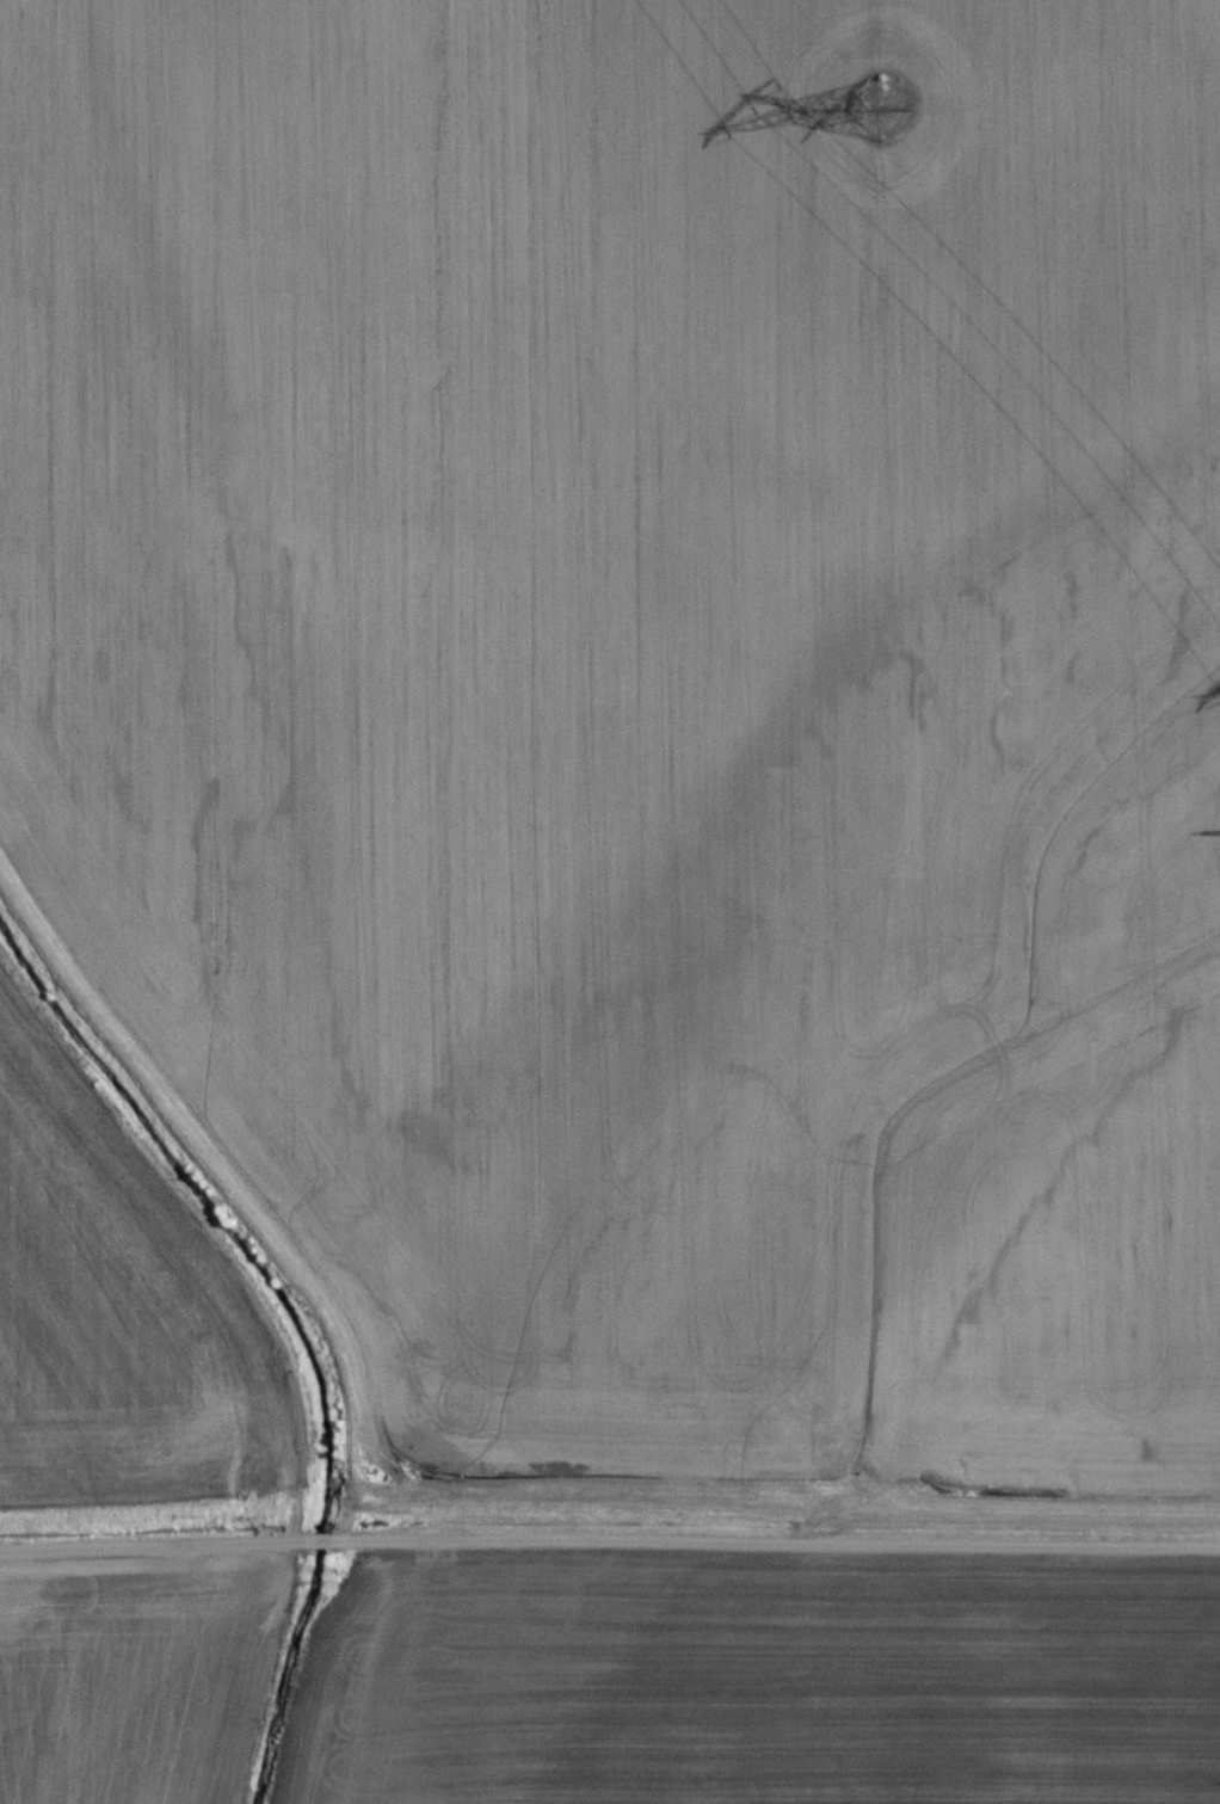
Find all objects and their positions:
power tower: (880, 105)
road: (318, 1545)
road: (775, 1546)
road: (153, 1550)

